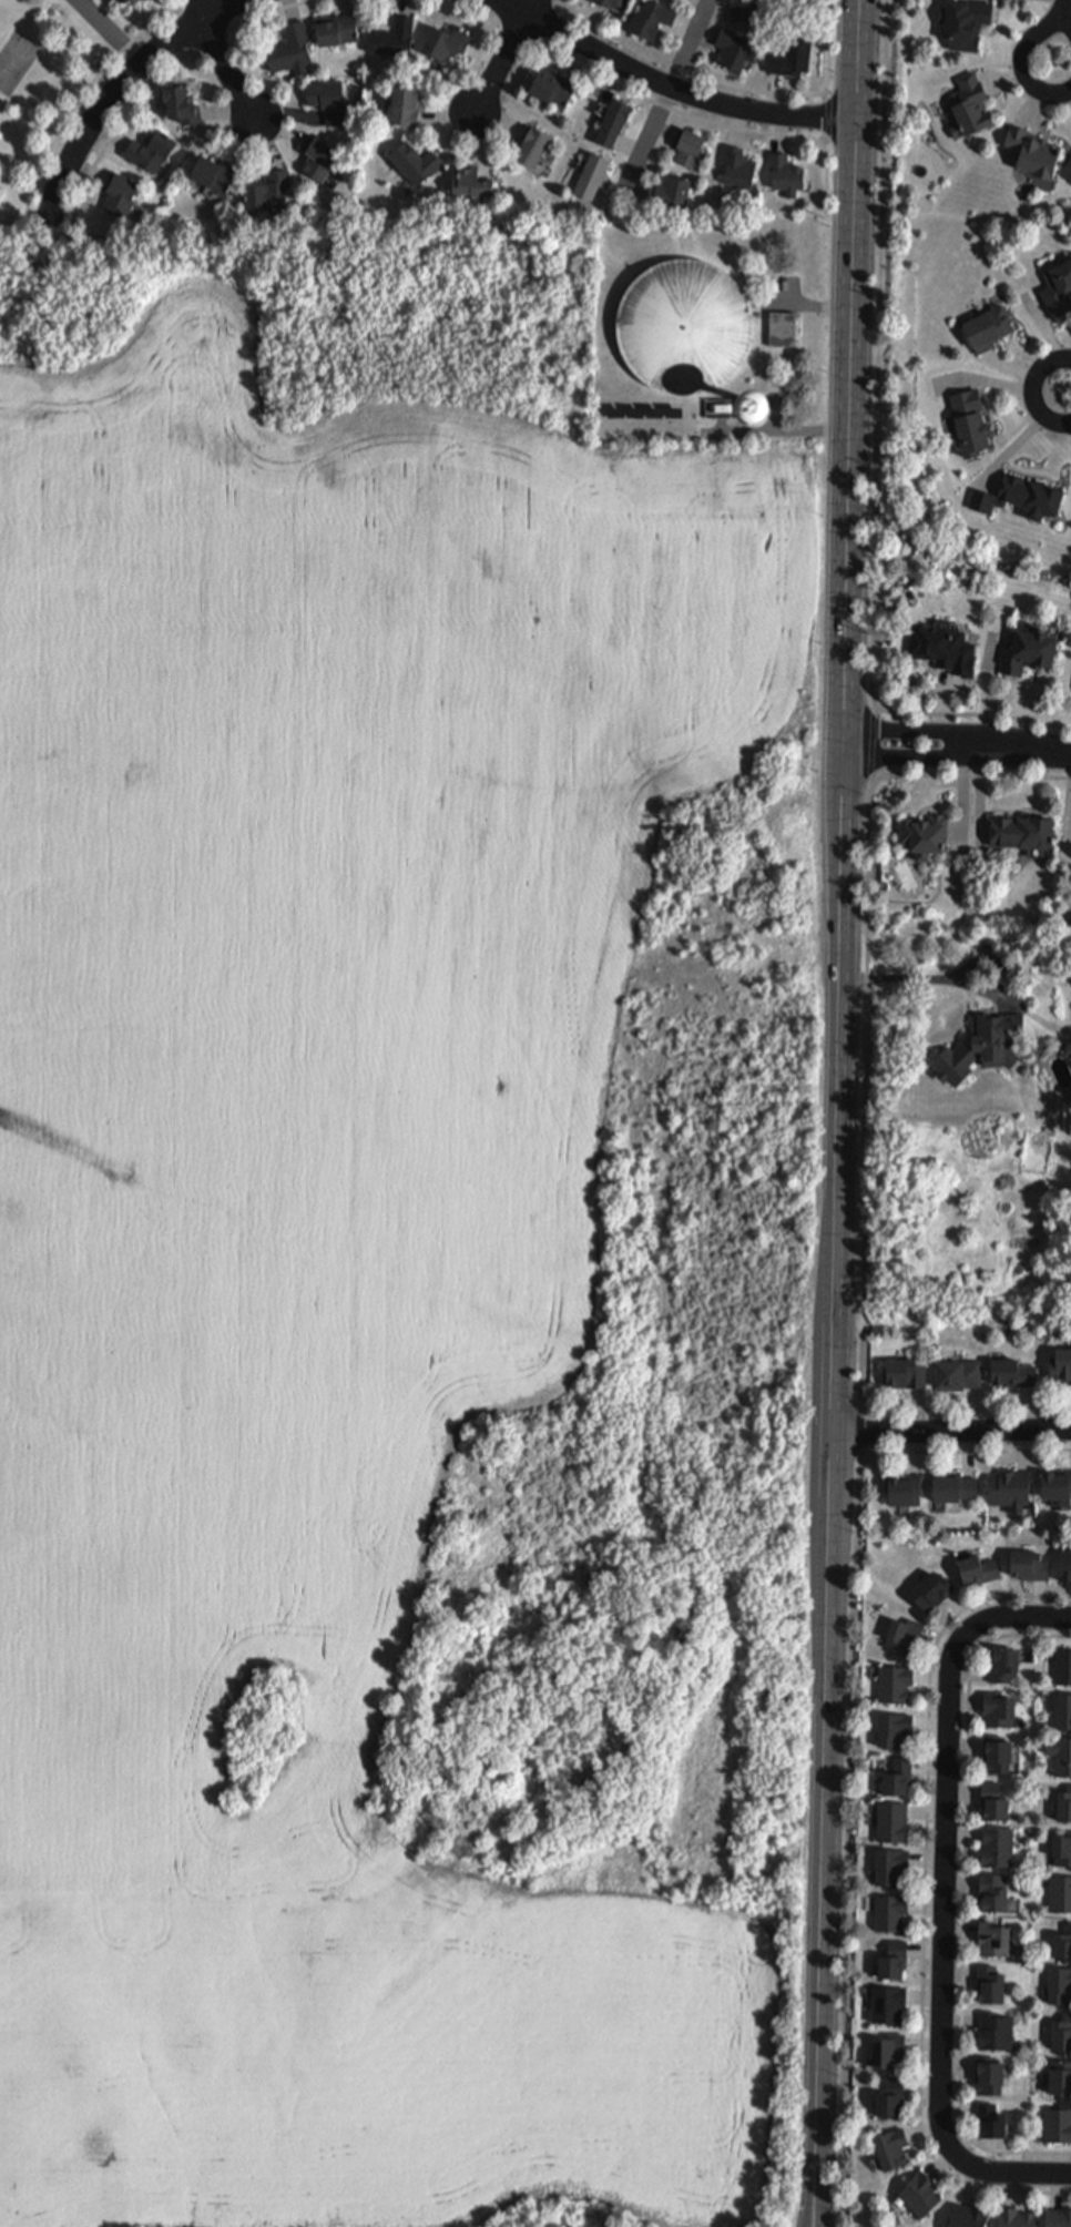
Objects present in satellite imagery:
building: (126, 1)
road: (532, 6)
building: (609, 6)
road: (202, 7)
road: (1064, 10)
building: (742, 11)
road: (507, 12)
road: (225, 14)
building: (965, 21)
building: (651, 22)
road: (545, 24)
road: (190, 27)
road: (111, 31)
building: (336, 34)
building: (392, 39)
building: (447, 43)
building: (290, 51)
building: (733, 53)
road: (1027, 59)
road: (502, 61)
park: (16, 62)
building: (789, 62)
road: (676, 67)
road: (225, 69)
road: (162, 77)
road: (616, 85)
road: (671, 85)
building: (551, 89)
road: (114, 91)
park: (42, 94)
road: (84, 94)
road: (664, 98)
building: (327, 103)
building: (180, 105)
building: (970, 105)
road: (828, 108)
building: (406, 109)
building: (614, 123)
building: (691, 149)
building: (1032, 150)
building: (151, 151)
building: (531, 152)
building: (316, 161)
building: (415, 163)
building: (739, 170)
building: (212, 175)
building: (593, 176)
building: (787, 176)
building: (468, 181)
building: (120, 193)
building: (670, 194)
building: (268, 196)
road: (851, 281)
building: (1058, 285)
building: (988, 322)
building: (685, 323)
storage tank: (685, 323)
building: (784, 331)
road: (1034, 390)
water tower: (759, 405)
building: (762, 405)
building: (969, 417)
road: (776, 431)
road: (877, 451)
building: (1021, 489)
building: (938, 641)
building: (1027, 645)
road: (930, 733)
road: (873, 743)
road: (1044, 750)
road: (930, 755)
building: (1023, 825)
building: (924, 833)
road: (897, 979)
building: (992, 1036)
road: (866, 1097)
crop: (330, 1264)
building: (1061, 1361)
building: (902, 1369)
building: (1013, 1369)
building: (957, 1371)
road: (832, 1372)
road: (861, 1427)
road: (951, 1431)
road: (864, 1456)
building: (955, 1483)
building: (1058, 1483)
building: (1010, 1484)
building: (906, 1485)
building: (1064, 1559)
building: (1029, 1562)
building: (978, 1566)
building: (932, 1587)
building: (902, 1631)
building: (1004, 1659)
building: (1063, 1662)
building: (895, 1680)
building: (998, 1705)
building: (1062, 1707)
building: (894, 1725)
road: (850, 1739)
building: (997, 1751)
building: (1061, 1752)
building: (897, 1776)
building: (993, 1799)
building: (1064, 1800)
building: (892, 1819)
building: (997, 1844)
building: (1062, 1845)
building: (891, 1862)
building: (993, 1889)
building: (1060, 1890)
road: (945, 1898)
road: (926, 1899)
road: (965, 1899)
building: (890, 1909)
building: (993, 1935)
building: (1063, 1938)
building: (895, 1956)
building: (991, 1981)
building: (1060, 1982)
building: (888, 2001)
building: (993, 2027)
building: (1062, 2030)
building: (889, 2051)
building: (989, 2075)
building: (1061, 2076)
building: (890, 2097)
building: (991, 2119)
building: (1058, 2122)
building: (891, 2147)
building: (920, 2192)
road: (814, 2204)
road: (822, 2204)
building: (967, 2214)
building: (1058, 2216)
building: (1017, 2217)

